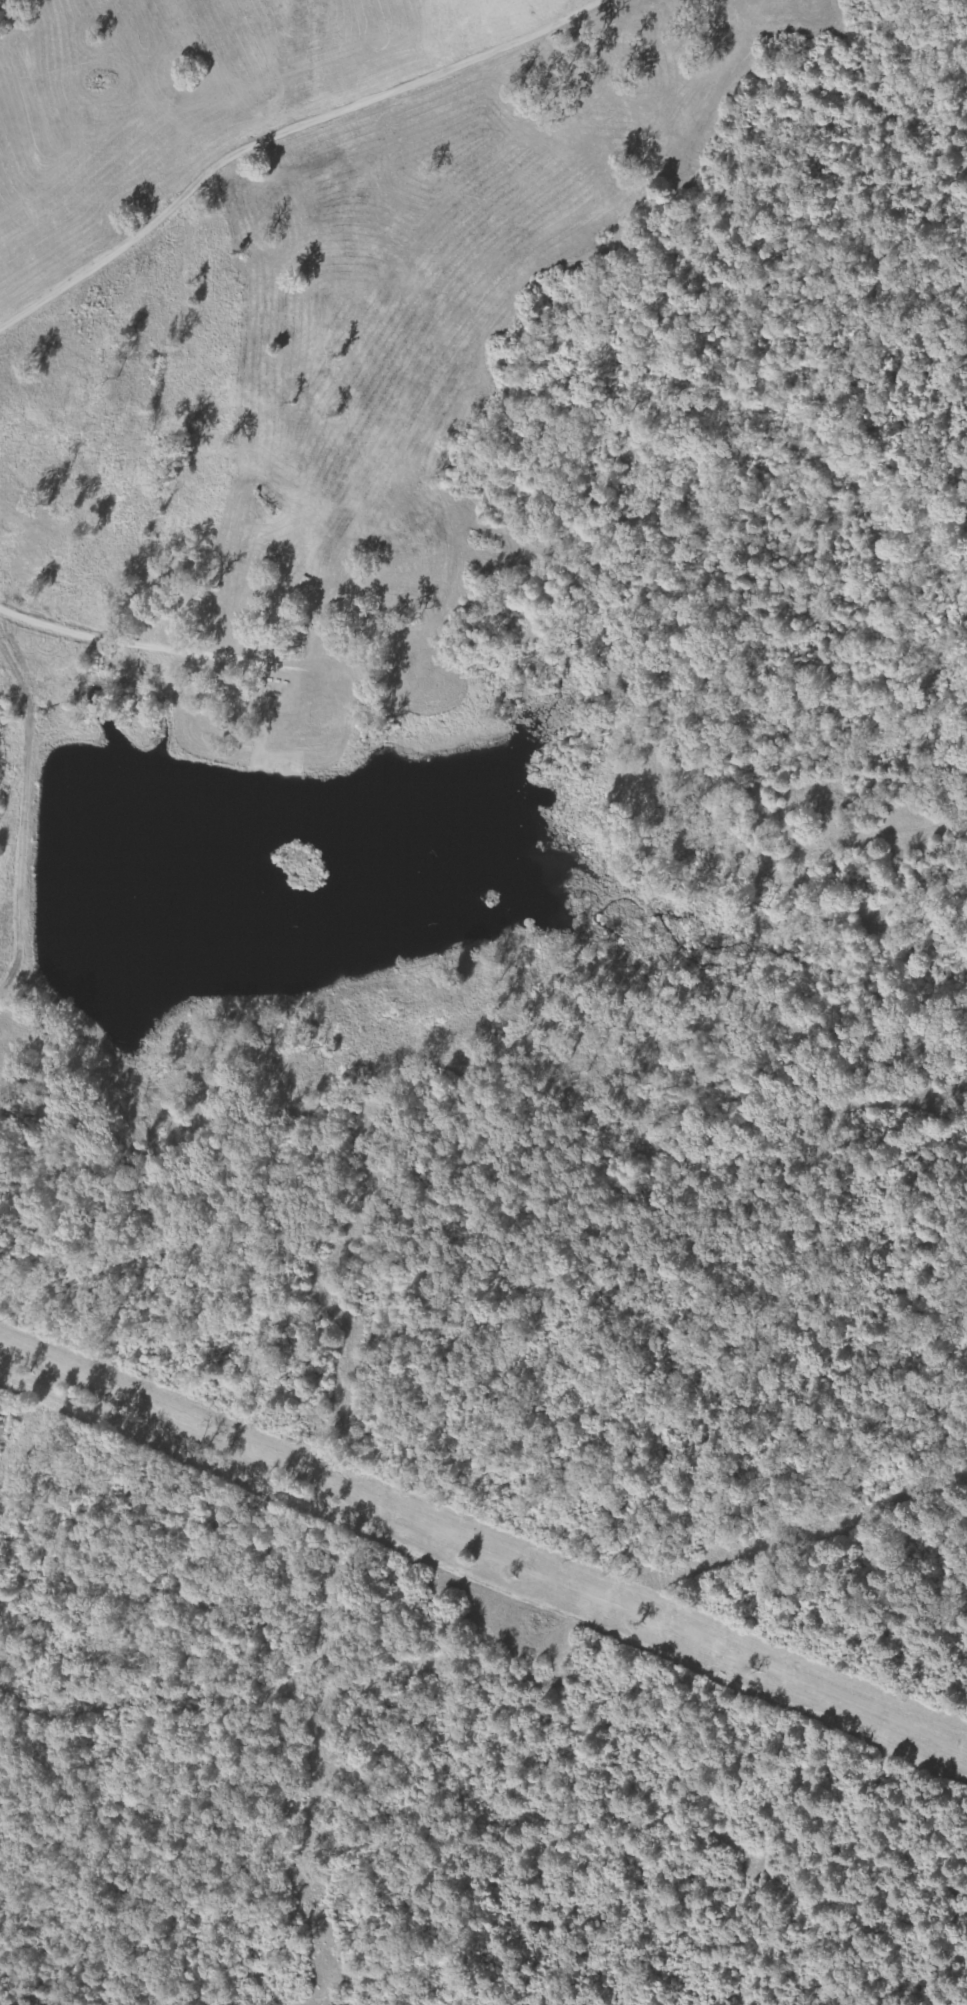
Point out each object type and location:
road: (268, 127)

